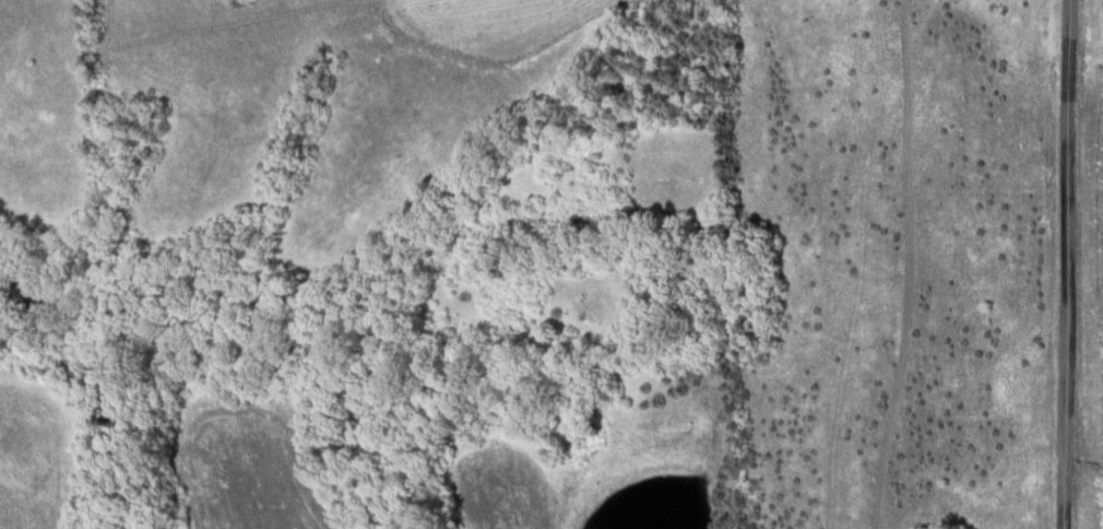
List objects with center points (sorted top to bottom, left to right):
road: (1063, 264)

